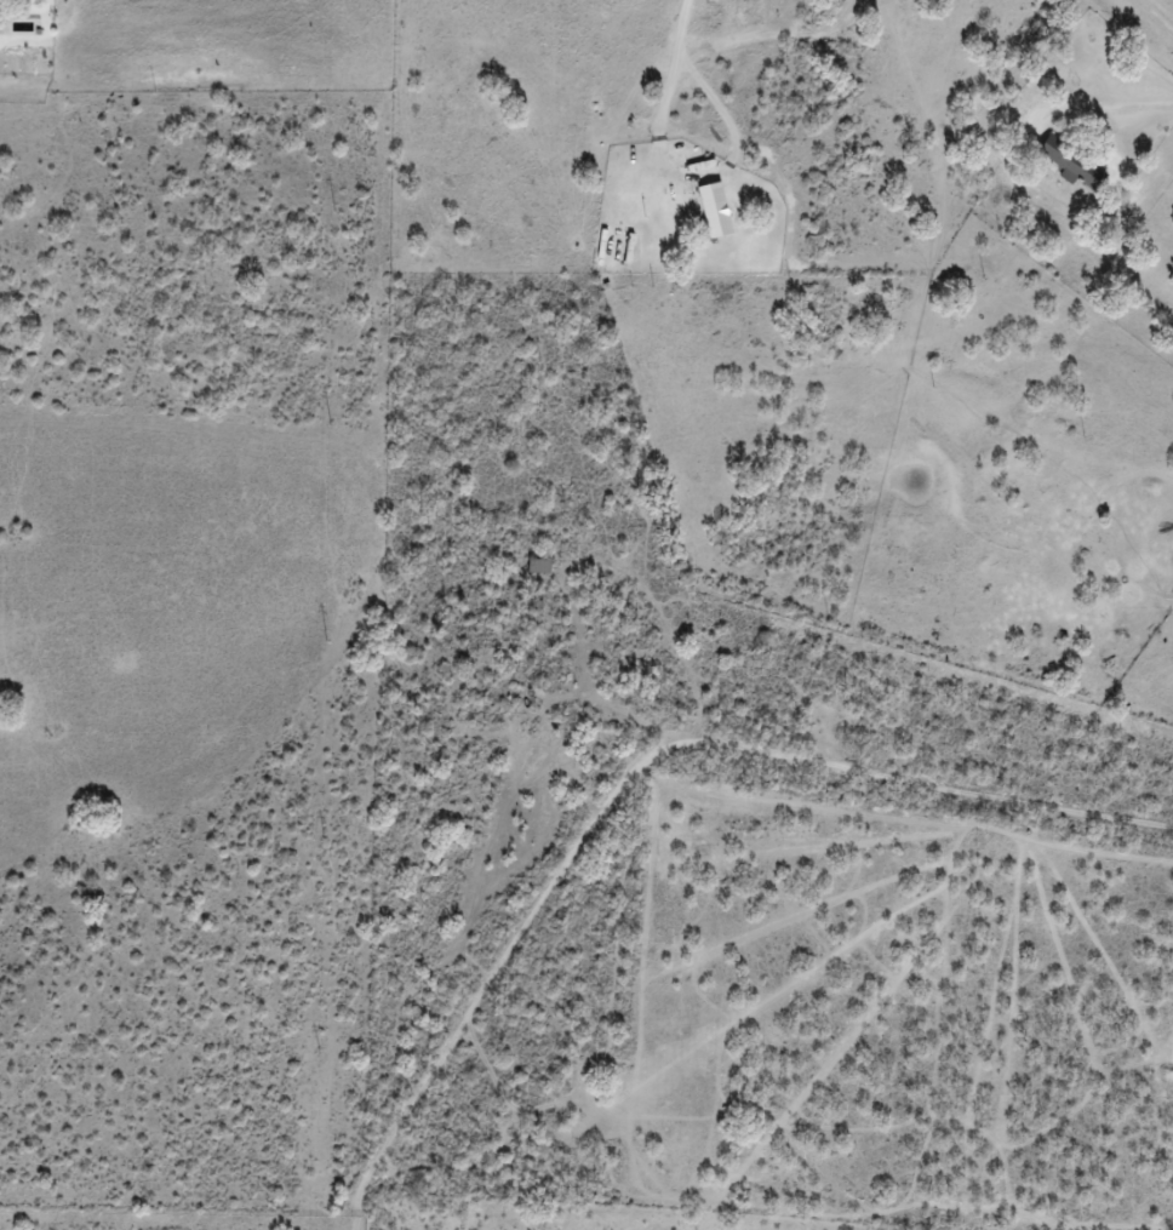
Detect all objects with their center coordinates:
building: (1069, 161)
building: (715, 210)
building: (539, 565)
road: (666, 800)

